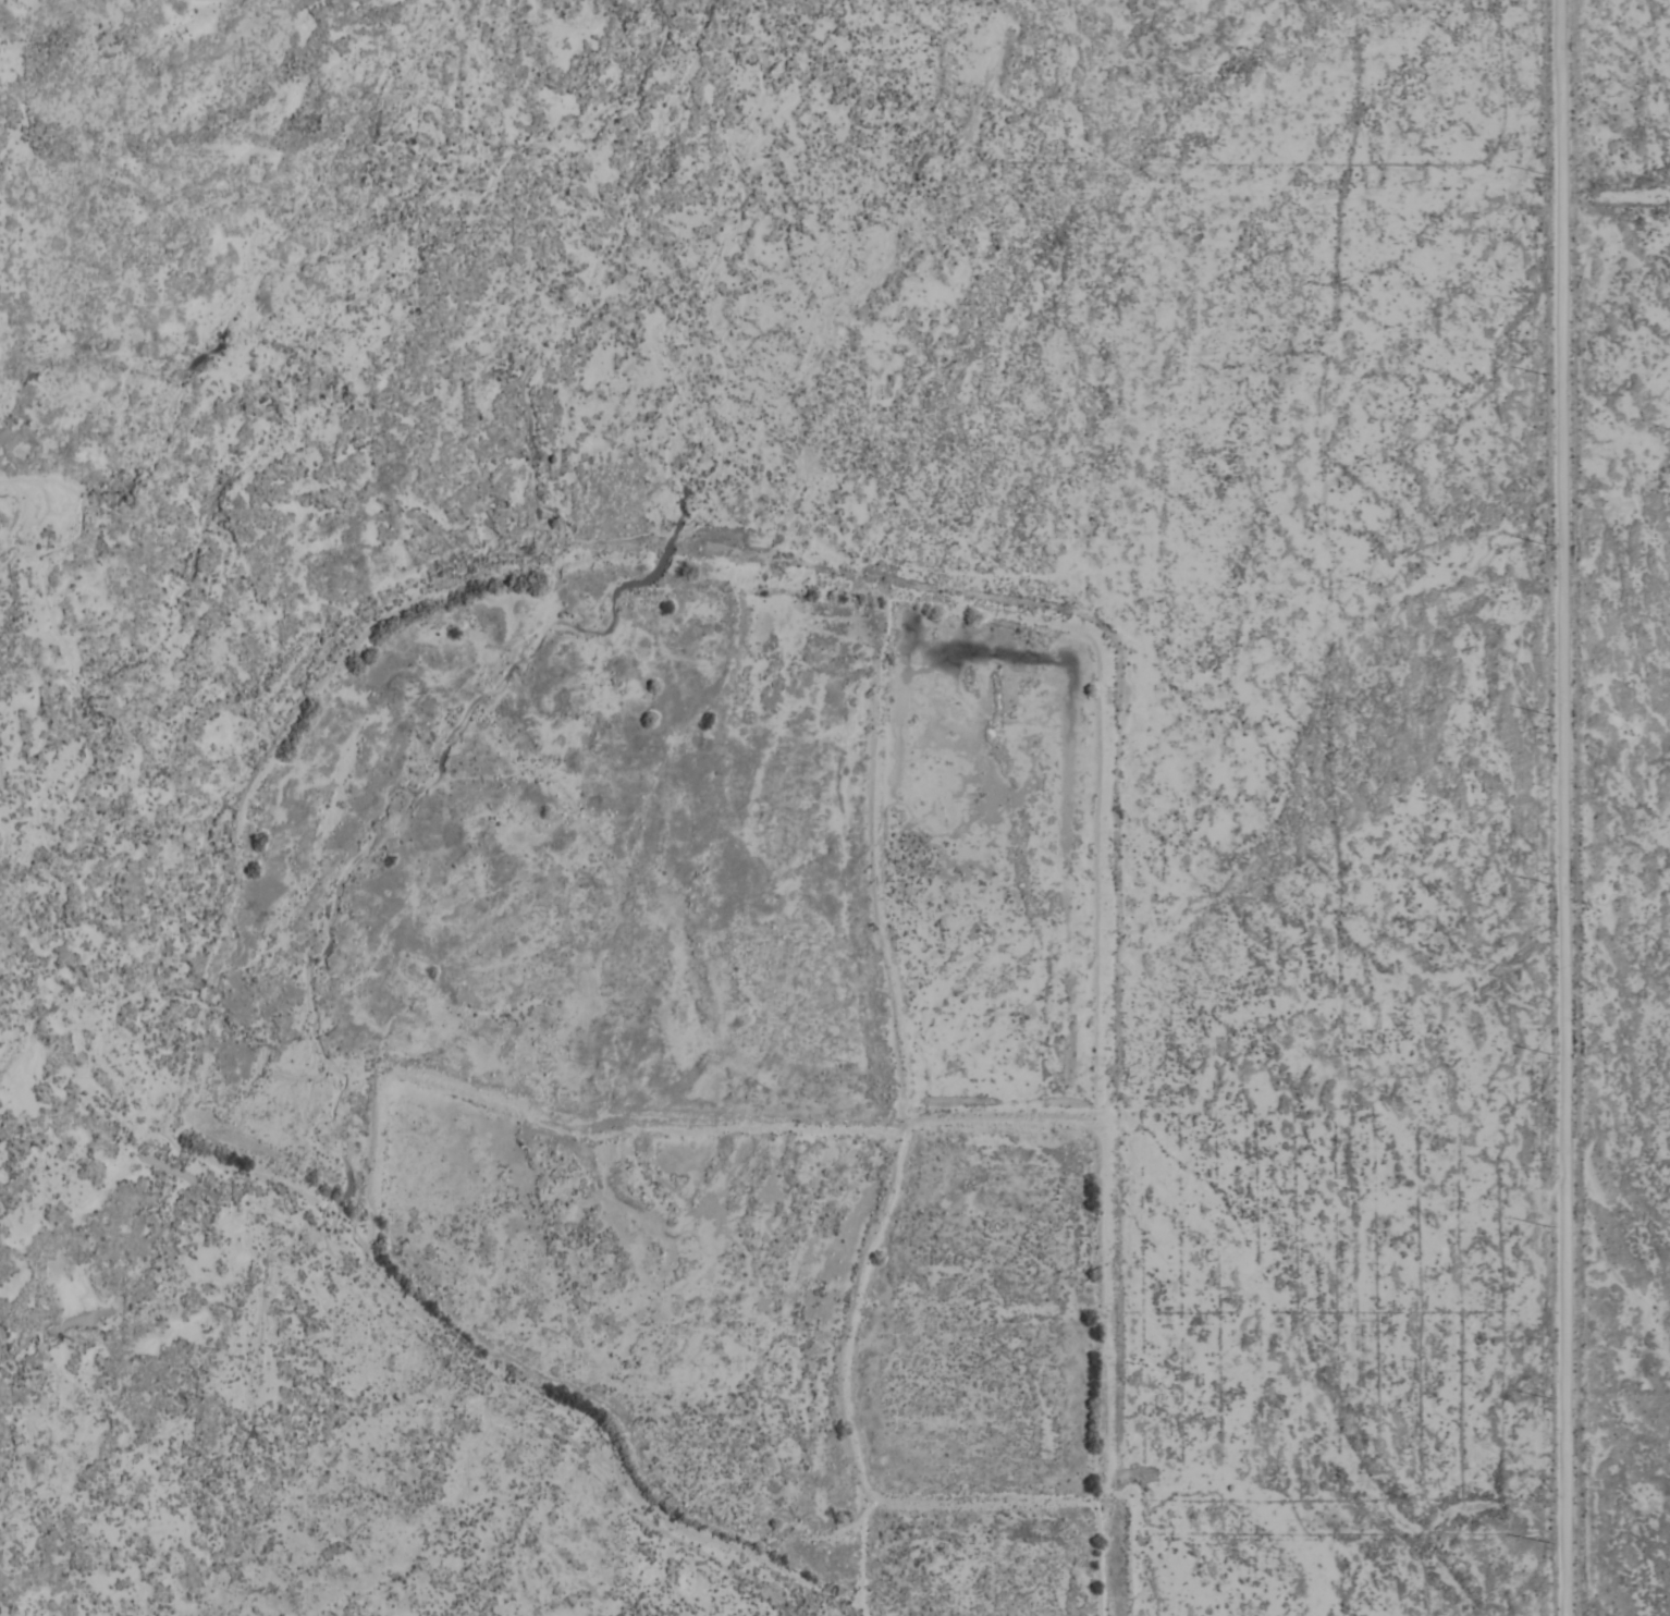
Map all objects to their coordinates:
road: (1568, 808)

